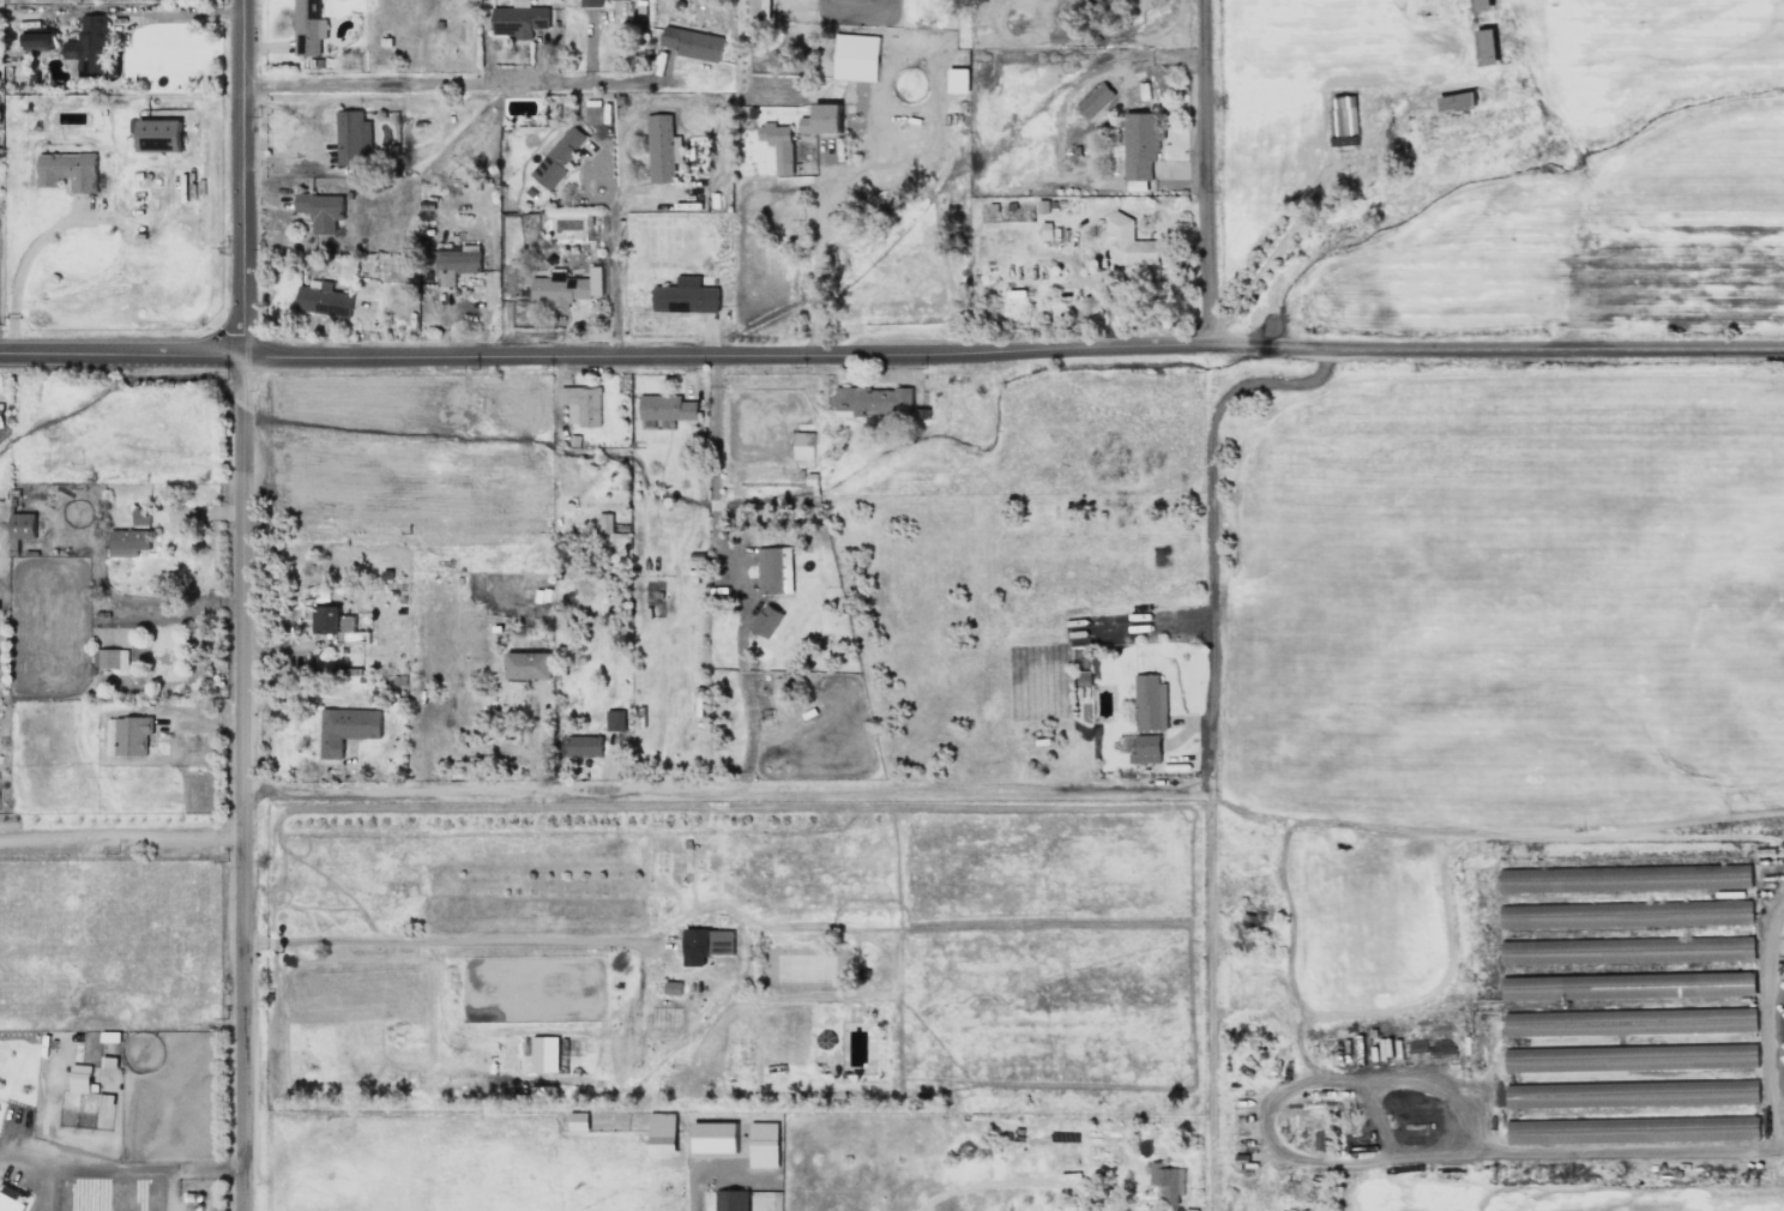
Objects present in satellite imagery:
building: (591, 2)
building: (1482, 5)
road: (183, 13)
building: (519, 19)
building: (307, 26)
building: (37, 37)
building: (692, 43)
building: (89, 46)
building: (1487, 47)
building: (856, 56)
building: (958, 79)
road: (489, 86)
building: (1095, 100)
building: (1458, 101)
building: (595, 112)
building: (821, 119)
building: (1344, 120)
building: (158, 135)
building: (351, 137)
building: (778, 144)
building: (1140, 144)
building: (662, 147)
building: (559, 156)
building: (67, 169)
road: (1212, 173)
road: (245, 179)
road: (609, 181)
road: (1336, 182)
road: (638, 203)
building: (320, 210)
road: (819, 231)
building: (1129, 242)
building: (457, 263)
road: (22, 270)
road: (615, 281)
building: (566, 287)
building: (686, 295)
building: (323, 299)
road: (1014, 351)
road: (122, 357)
building: (874, 400)
building: (581, 404)
building: (665, 406)
building: (803, 445)
building: (140, 516)
building: (605, 523)
building: (23, 525)
building: (127, 542)
building: (775, 570)
road: (733, 573)
building: (766, 620)
building: (336, 623)
building: (113, 658)
building: (529, 664)
building: (1150, 701)
building: (615, 719)
building: (345, 728)
building: (581, 745)
building: (1146, 748)
road: (1218, 777)
road: (245, 784)
road: (494, 791)
road: (988, 791)
road: (122, 844)
road: (1501, 845)
building: (1705, 876)
building: (1565, 879)
building: (1625, 914)
road: (472, 938)
road: (257, 941)
building: (706, 944)
building: (1544, 951)
building: (1729, 983)
building: (673, 987)
building: (1530, 987)
road: (1772, 1019)
building: (544, 1053)
building: (1567, 1059)
building: (79, 1077)
building: (578, 1121)
building: (1633, 1129)
building: (662, 1132)
building: (713, 1137)
building: (763, 1144)
road: (82, 1161)
road: (179, 1161)
road: (711, 1167)
road: (1008, 1181)
building: (1168, 1181)
building: (11, 1199)
building: (731, 1200)

